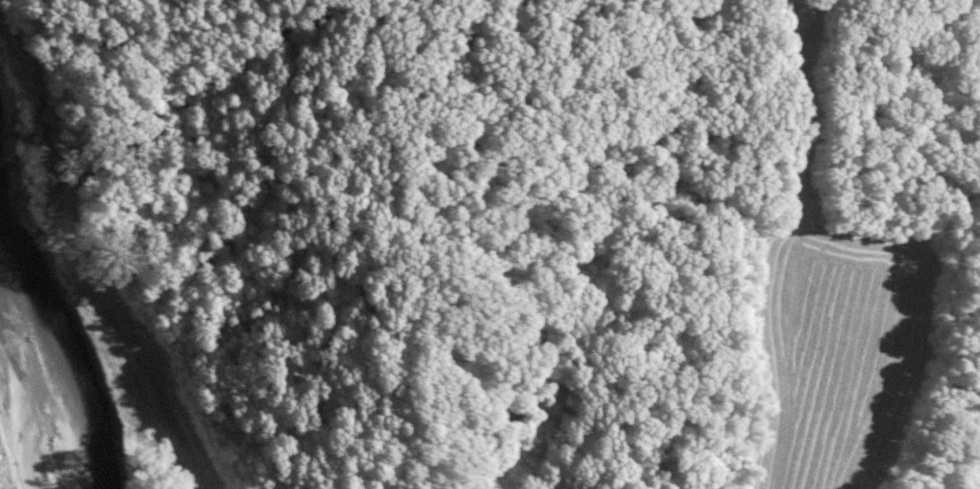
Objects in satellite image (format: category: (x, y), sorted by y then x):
river: (19, 457)

